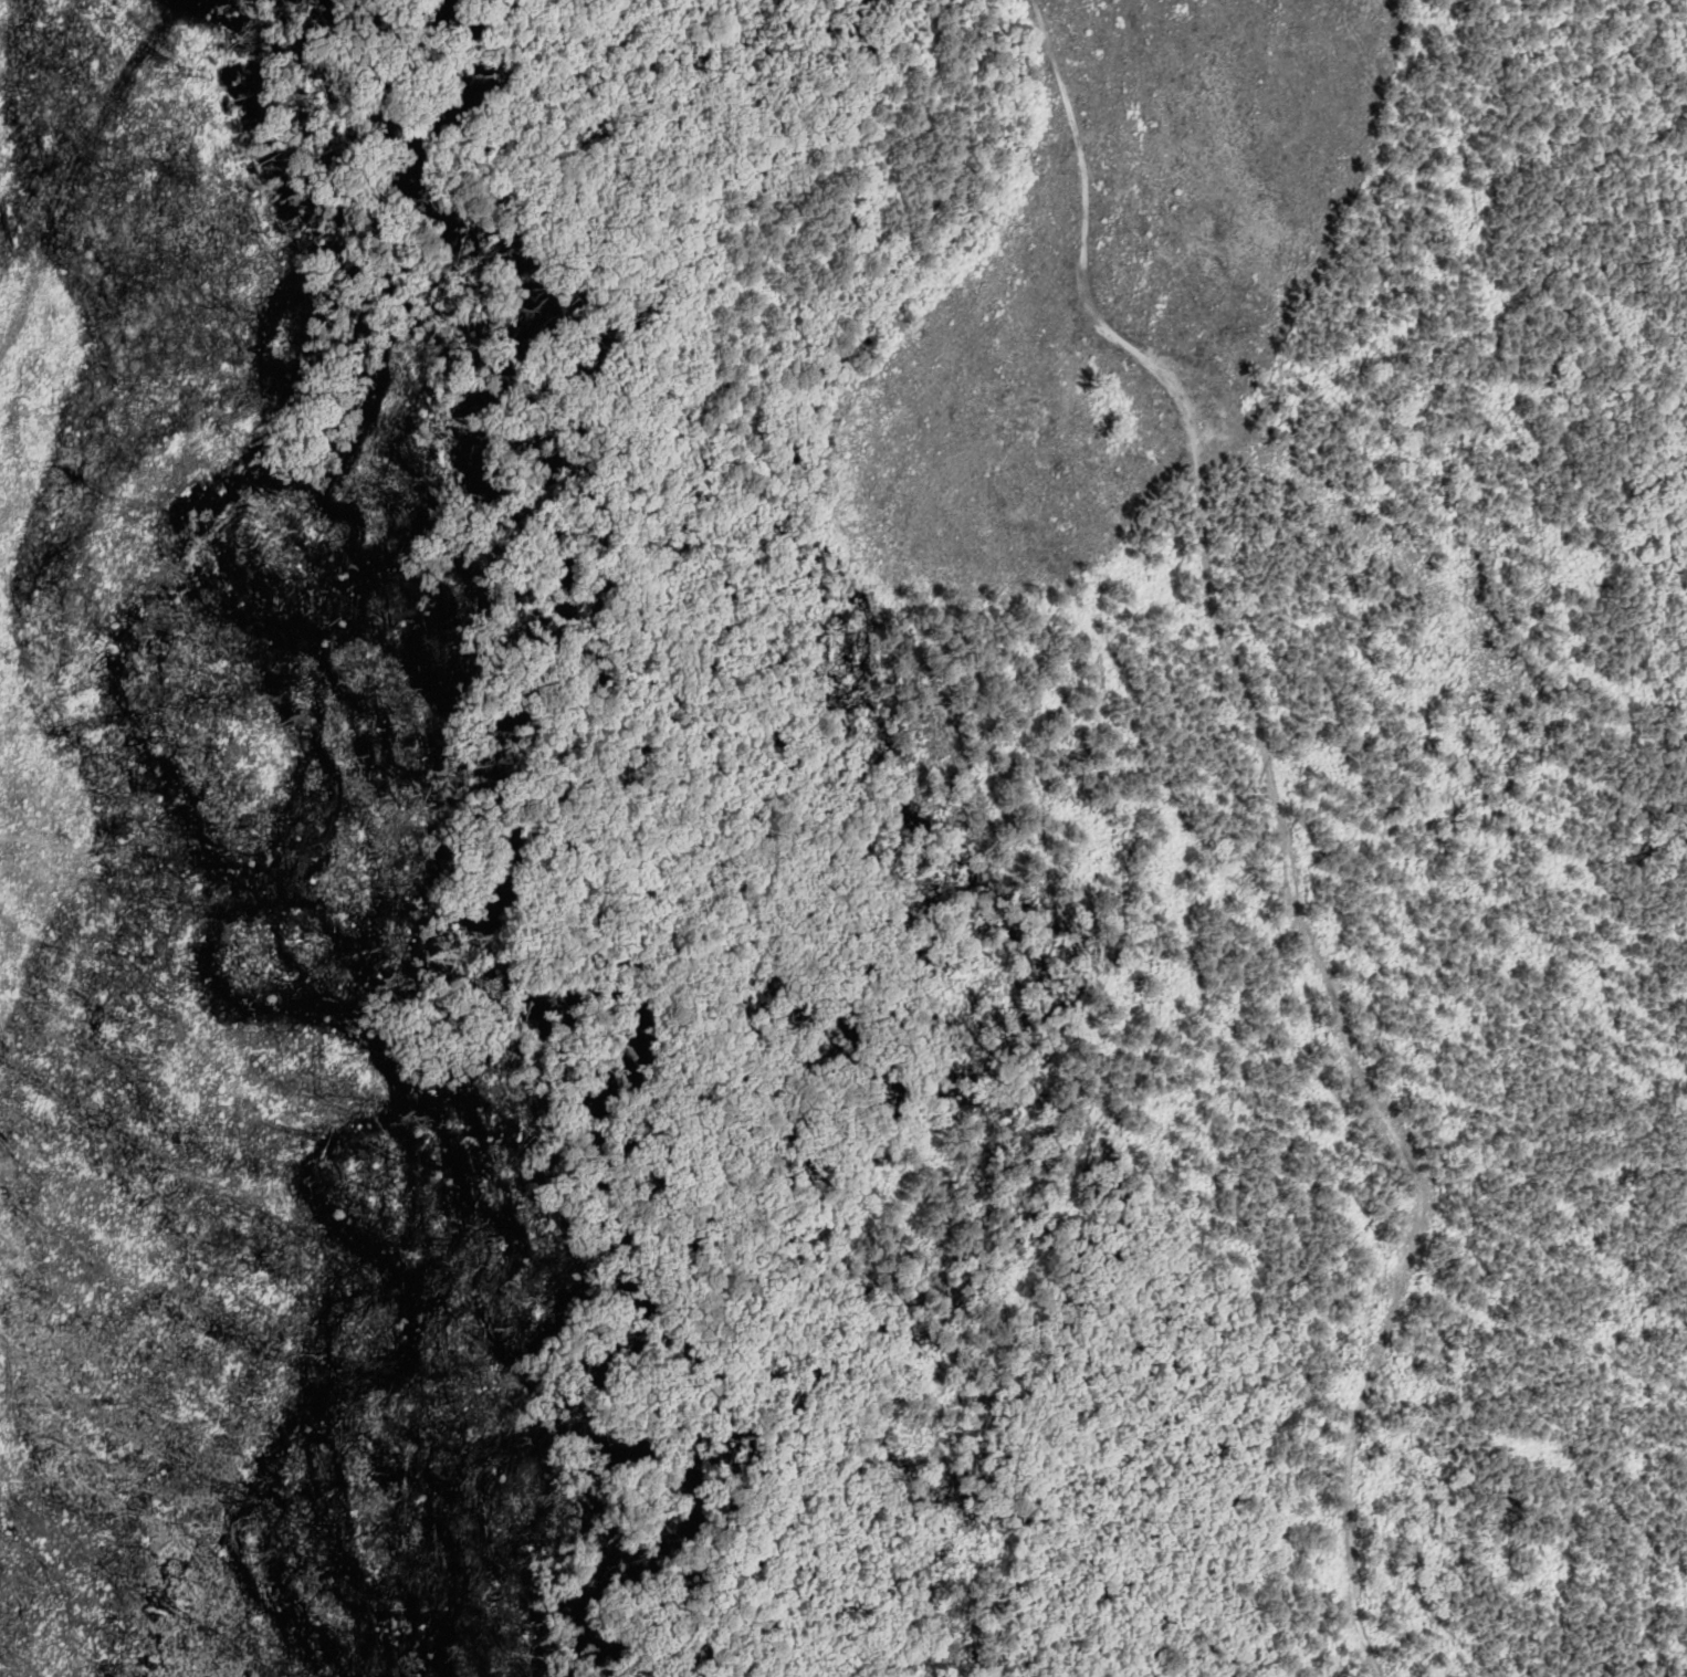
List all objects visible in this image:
river: (504, 279)
river: (620, 1312)

